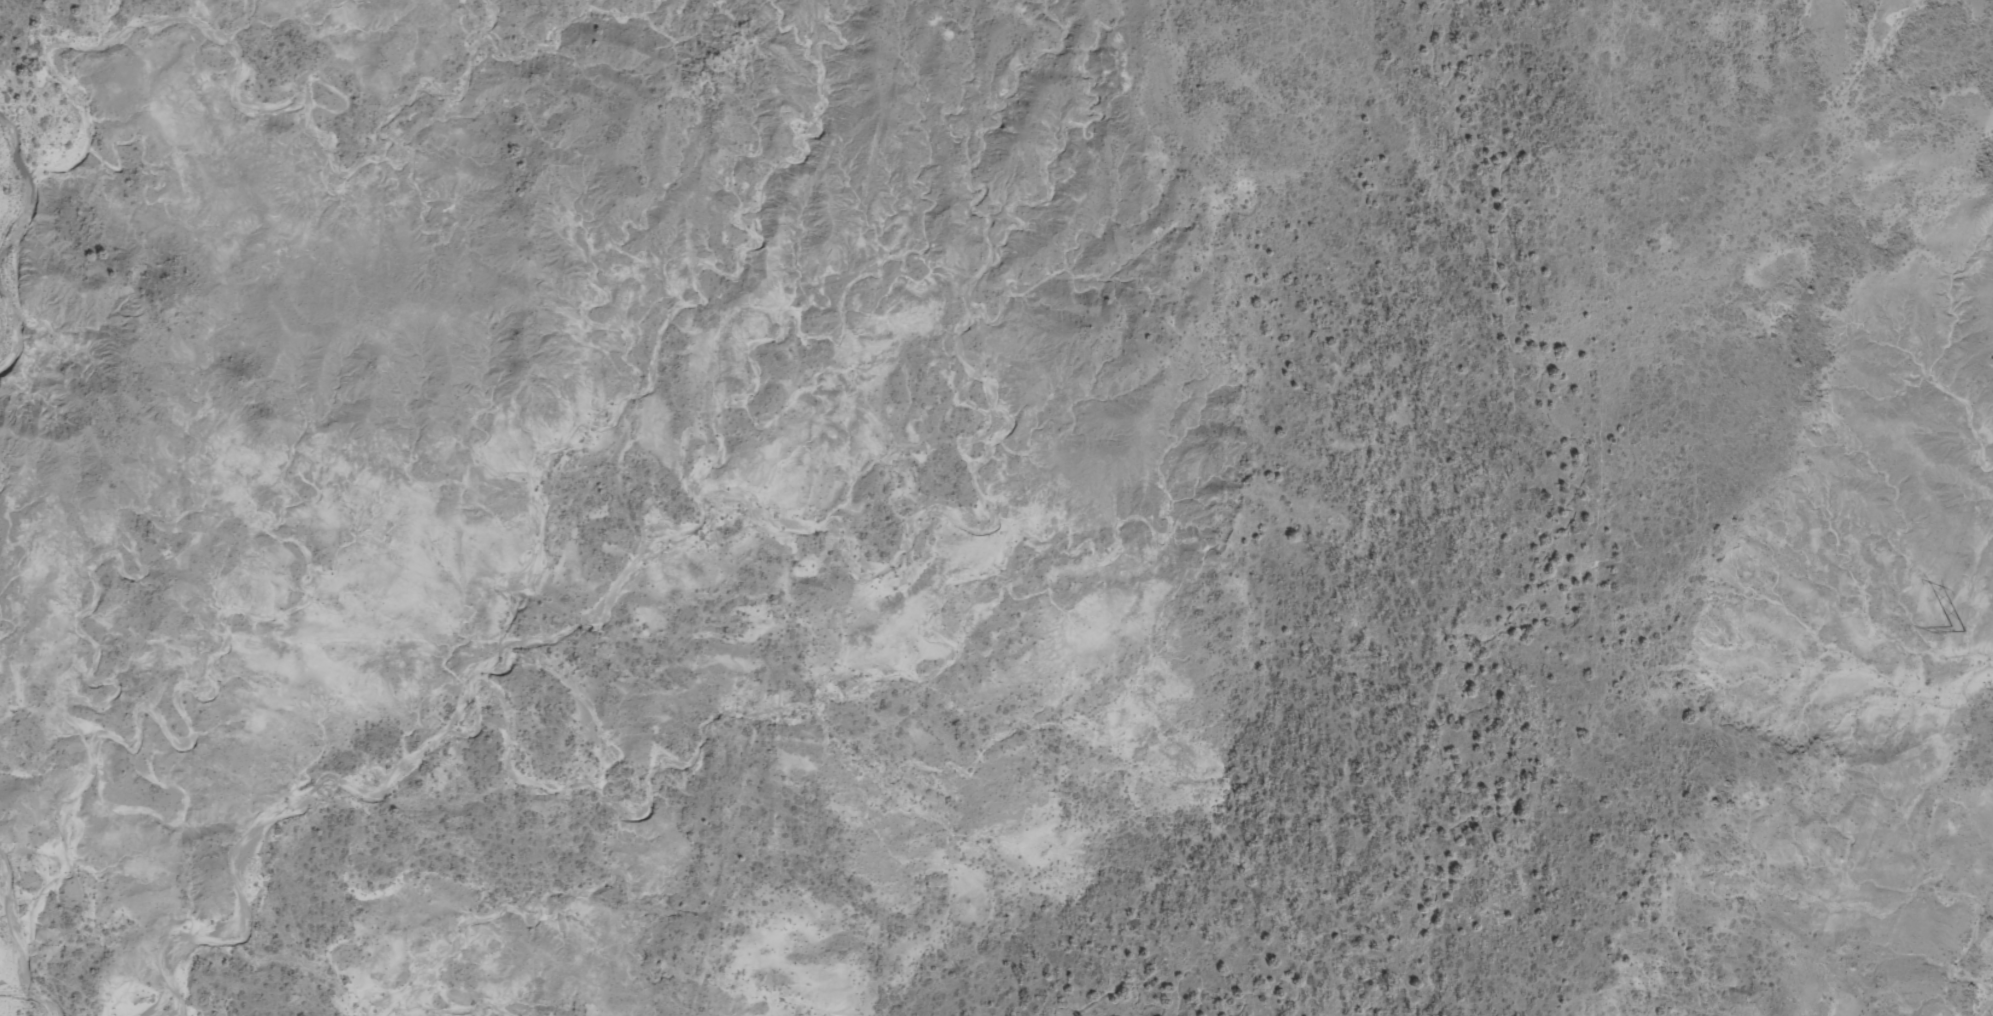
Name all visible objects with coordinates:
power tower: (1949, 634)

